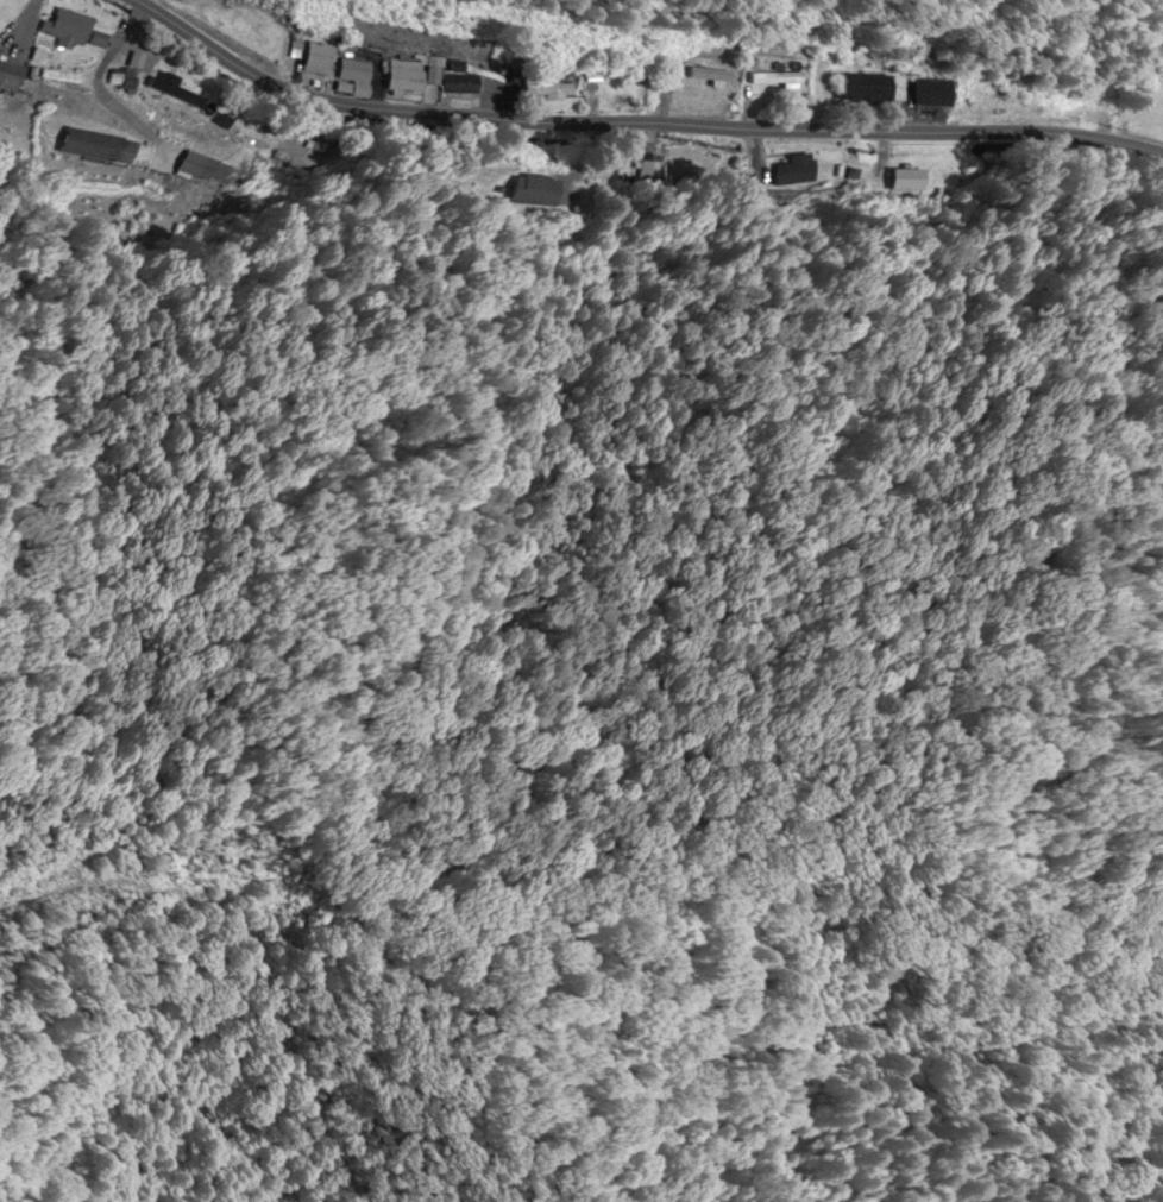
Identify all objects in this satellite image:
building: (68, 30)
building: (312, 59)
building: (12, 74)
building: (61, 77)
building: (124, 78)
building: (400, 78)
building: (694, 78)
building: (453, 84)
building: (542, 89)
building: (166, 90)
building: (856, 90)
building: (926, 94)
road: (641, 121)
building: (88, 145)
building: (528, 193)

